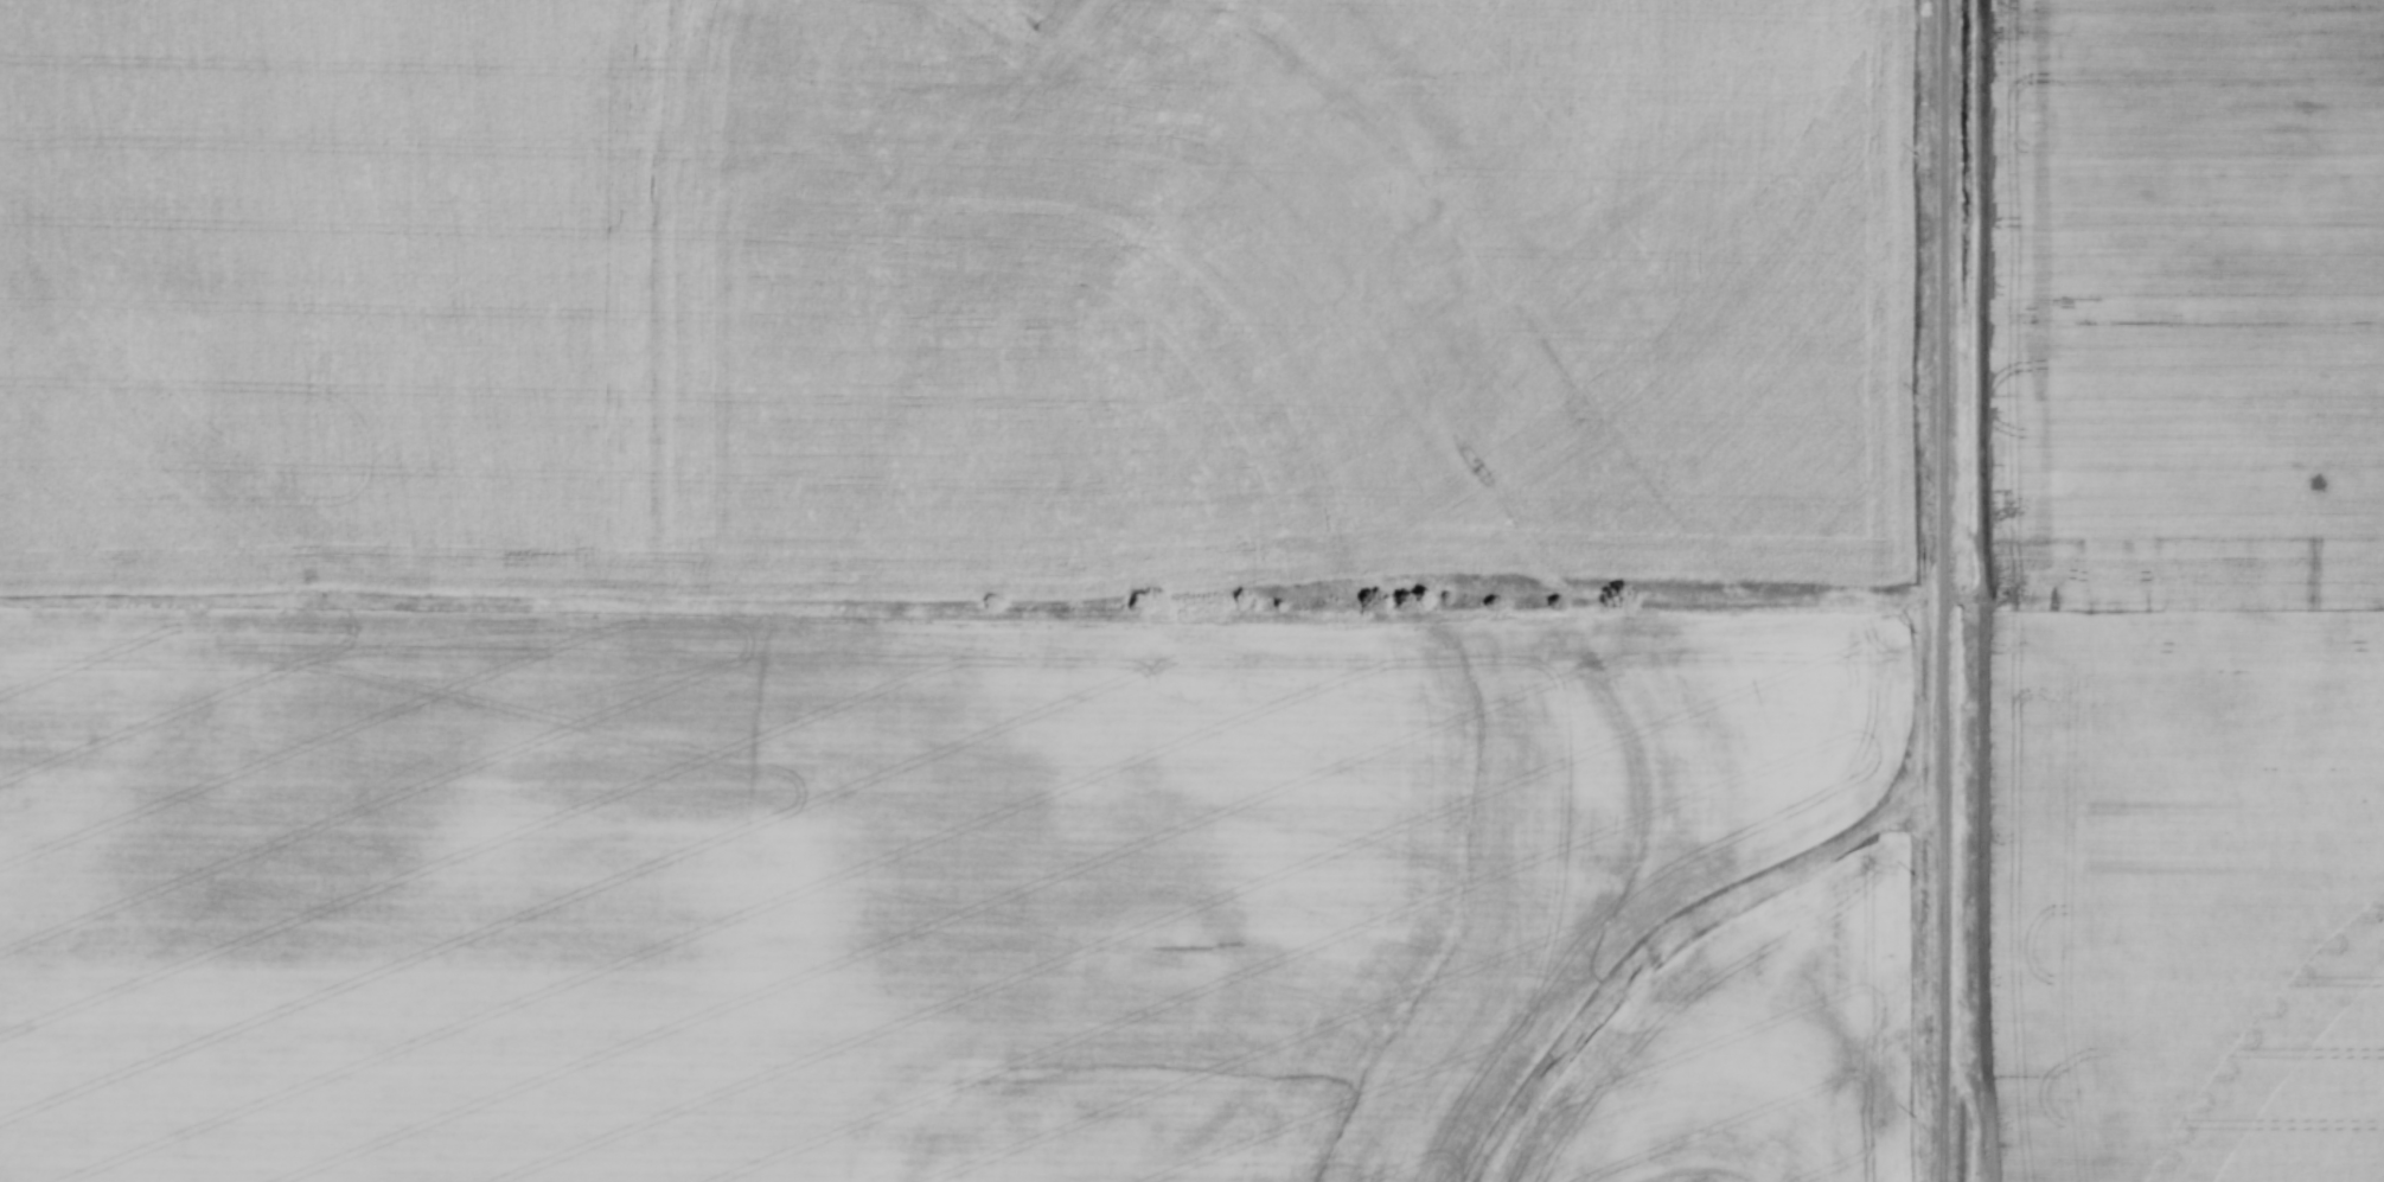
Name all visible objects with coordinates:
road: (1941, 590)

